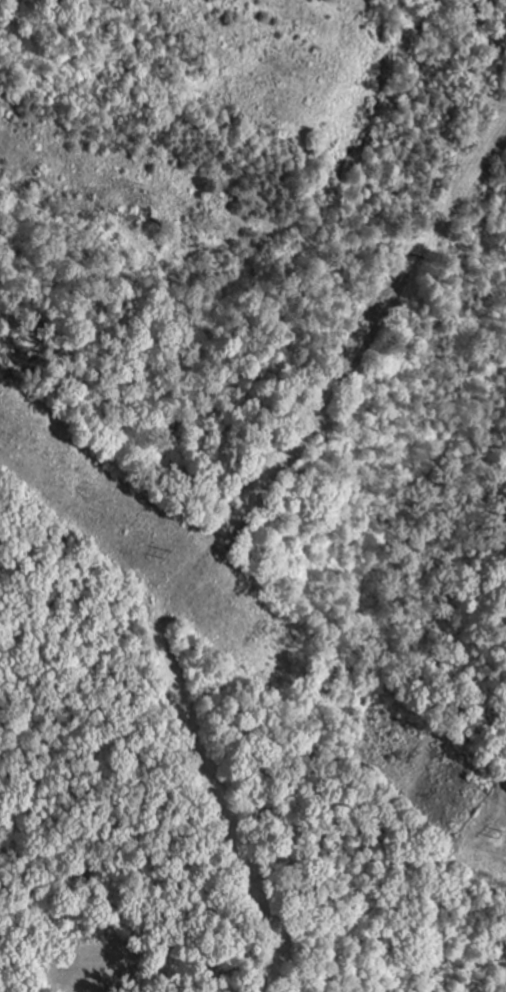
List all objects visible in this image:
road: (481, 24)

